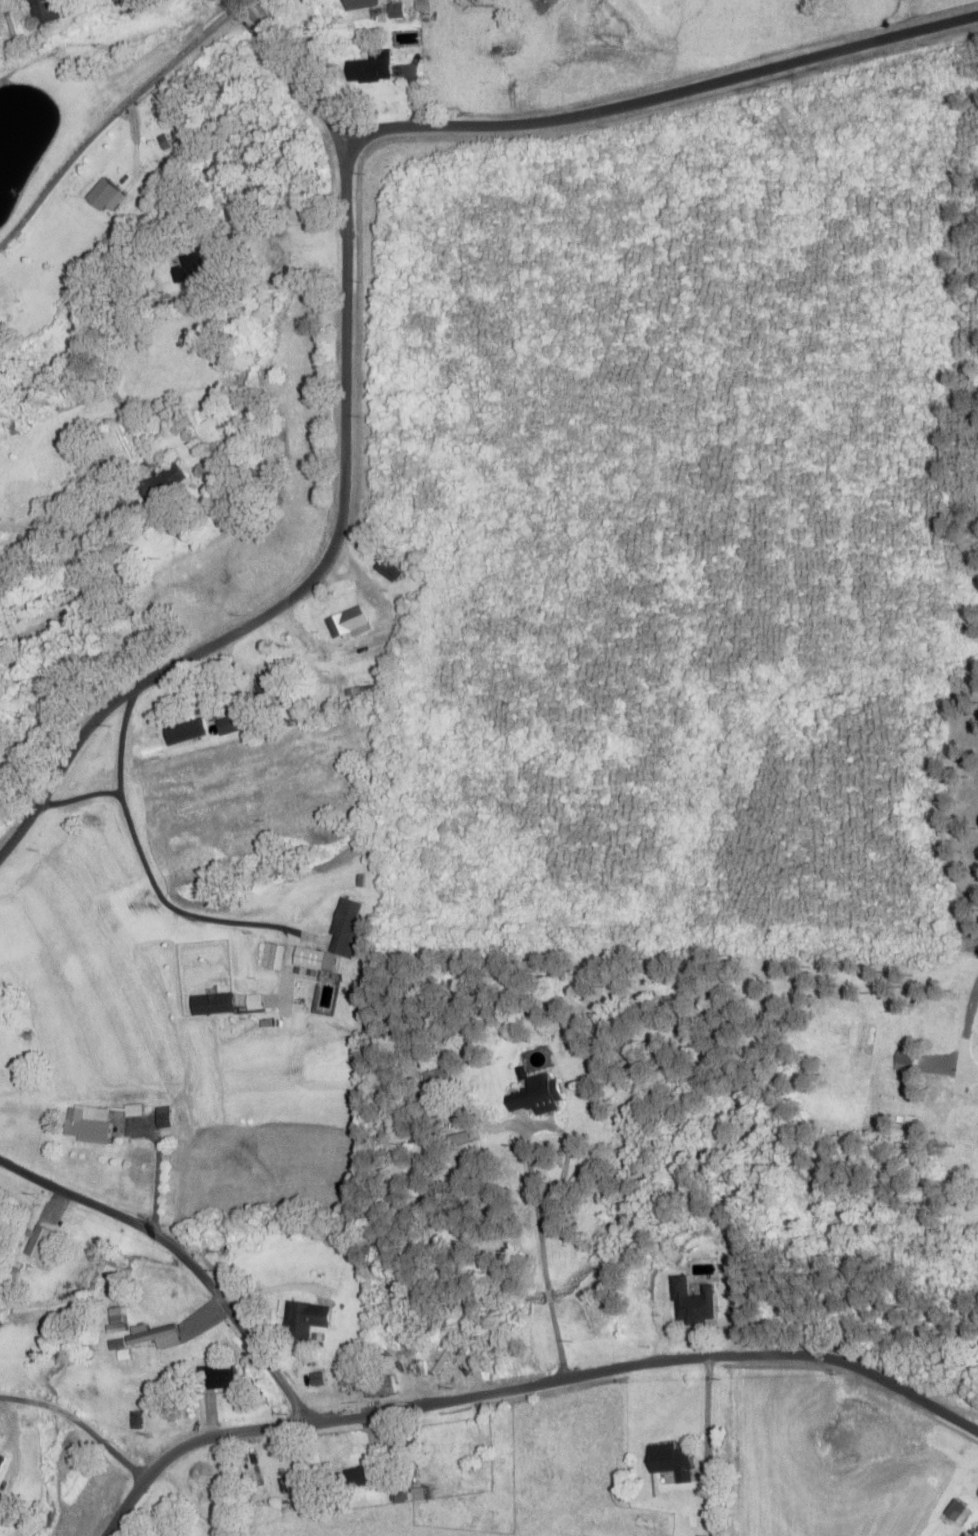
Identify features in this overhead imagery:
building: (395, 11)
building: (495, 35)
building: (368, 70)
road: (298, 72)
road: (669, 95)
road: (110, 117)
building: (101, 195)
building: (188, 269)
building: (160, 482)
road: (317, 571)
building: (346, 624)
building: (265, 688)
building: (228, 725)
building: (183, 732)
building: (332, 941)
building: (272, 957)
building: (535, 1096)
building: (161, 1118)
building: (85, 1125)
building: (35, 1243)
road: (184, 1254)
building: (303, 1321)
building: (116, 1325)
building: (153, 1334)
building: (116, 1345)
building: (216, 1378)
road: (528, 1386)
building: (379, 1388)
road: (74, 1431)
building: (0, 1453)
building: (669, 1462)
building: (356, 1478)
building: (956, 1513)

